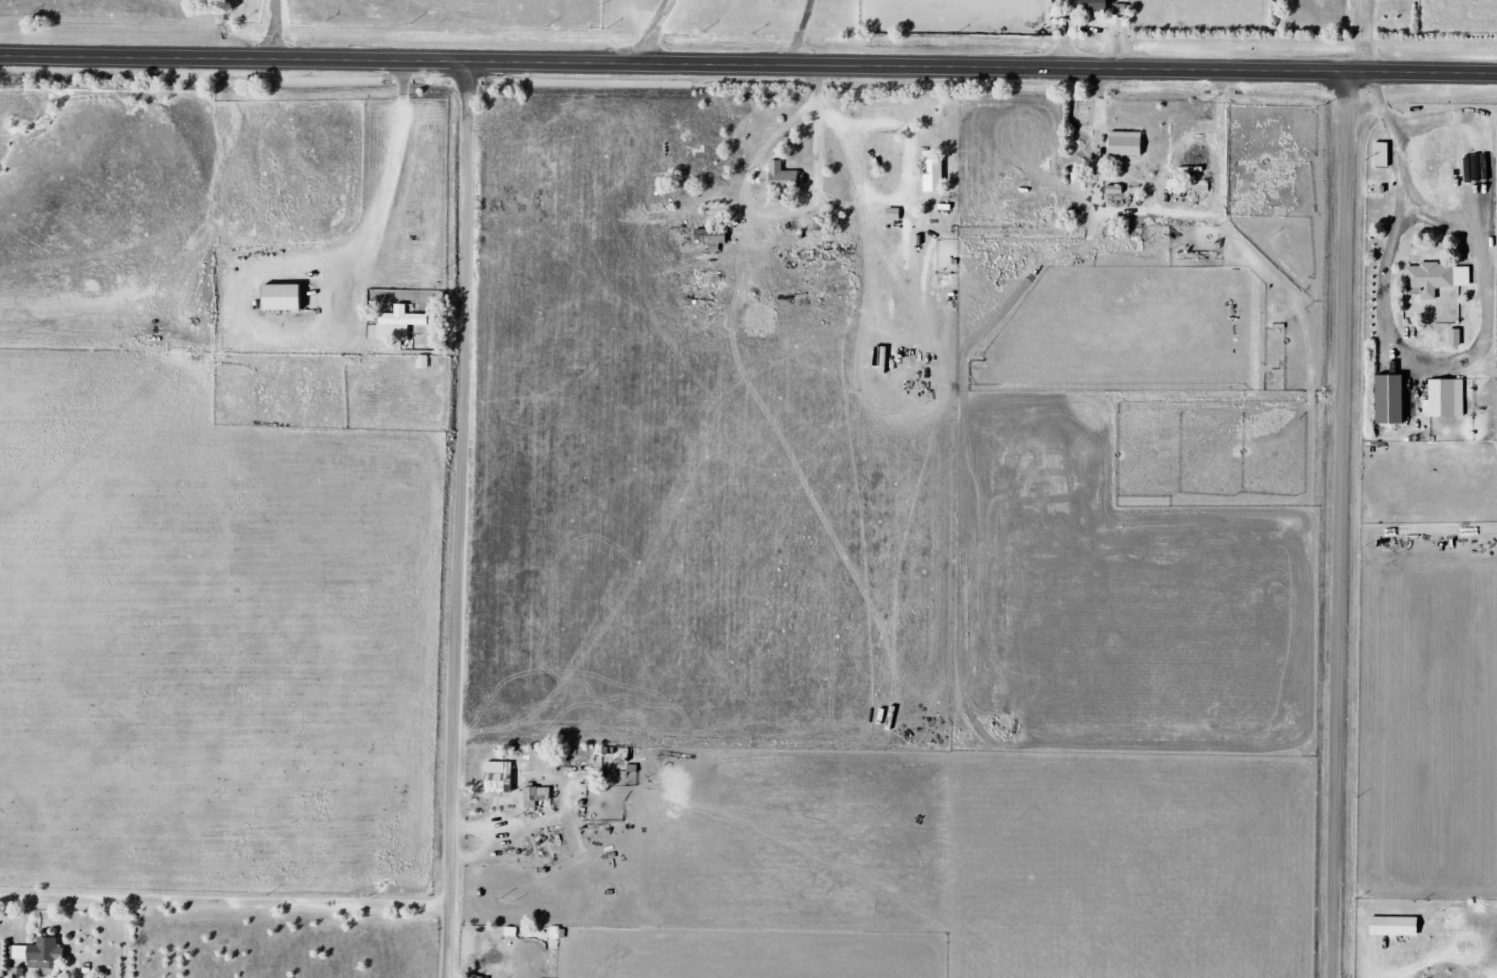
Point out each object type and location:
building: (1097, 6)
road: (748, 67)
building: (1129, 145)
building: (788, 175)
building: (938, 176)
building: (1465, 277)
building: (1432, 280)
building: (287, 298)
building: (402, 326)
building: (1458, 338)
building: (1394, 400)
building: (1448, 400)
road: (462, 483)
road: (1342, 526)
building: (502, 777)
building: (539, 796)
road: (225, 908)
building: (1, 919)
building: (1398, 927)
road: (454, 944)
building: (43, 954)
building: (22, 973)

